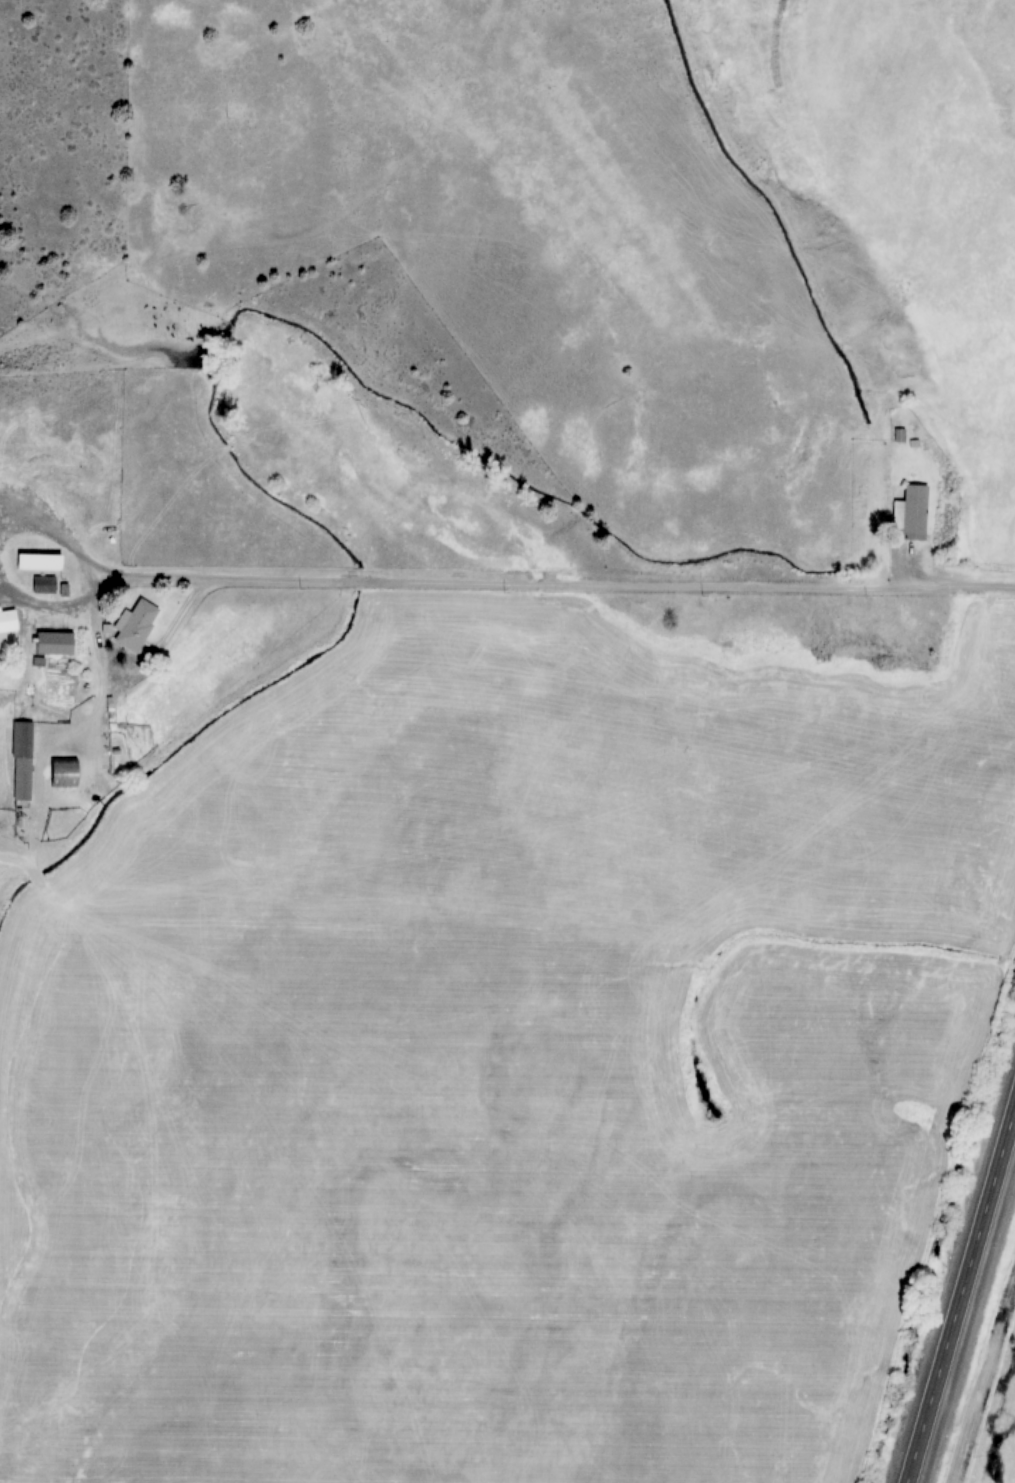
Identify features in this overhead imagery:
building: (912, 513)
road: (56, 537)
building: (46, 585)
road: (553, 585)
building: (9, 621)
building: (139, 625)
building: (57, 643)
building: (24, 761)
building: (65, 771)
road: (960, 1292)

